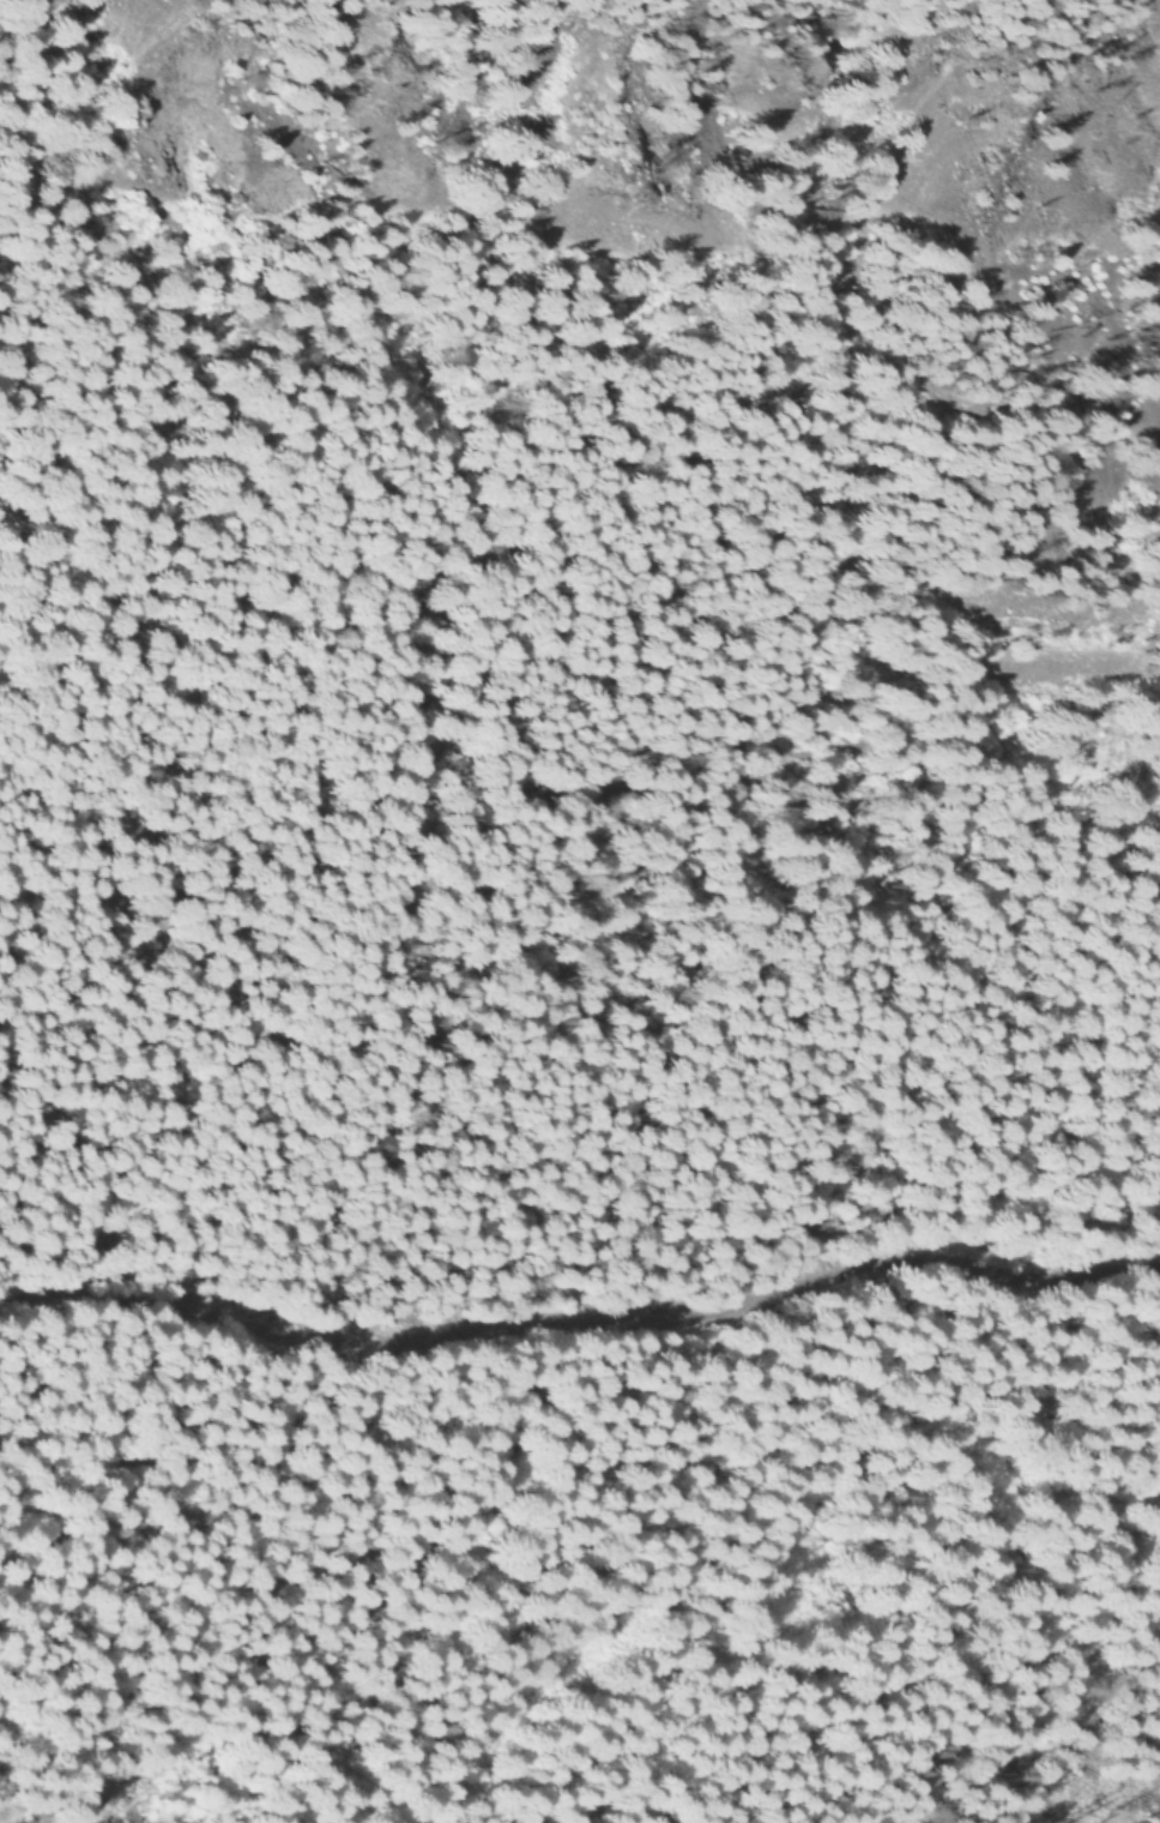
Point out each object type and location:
road: (580, 1329)

